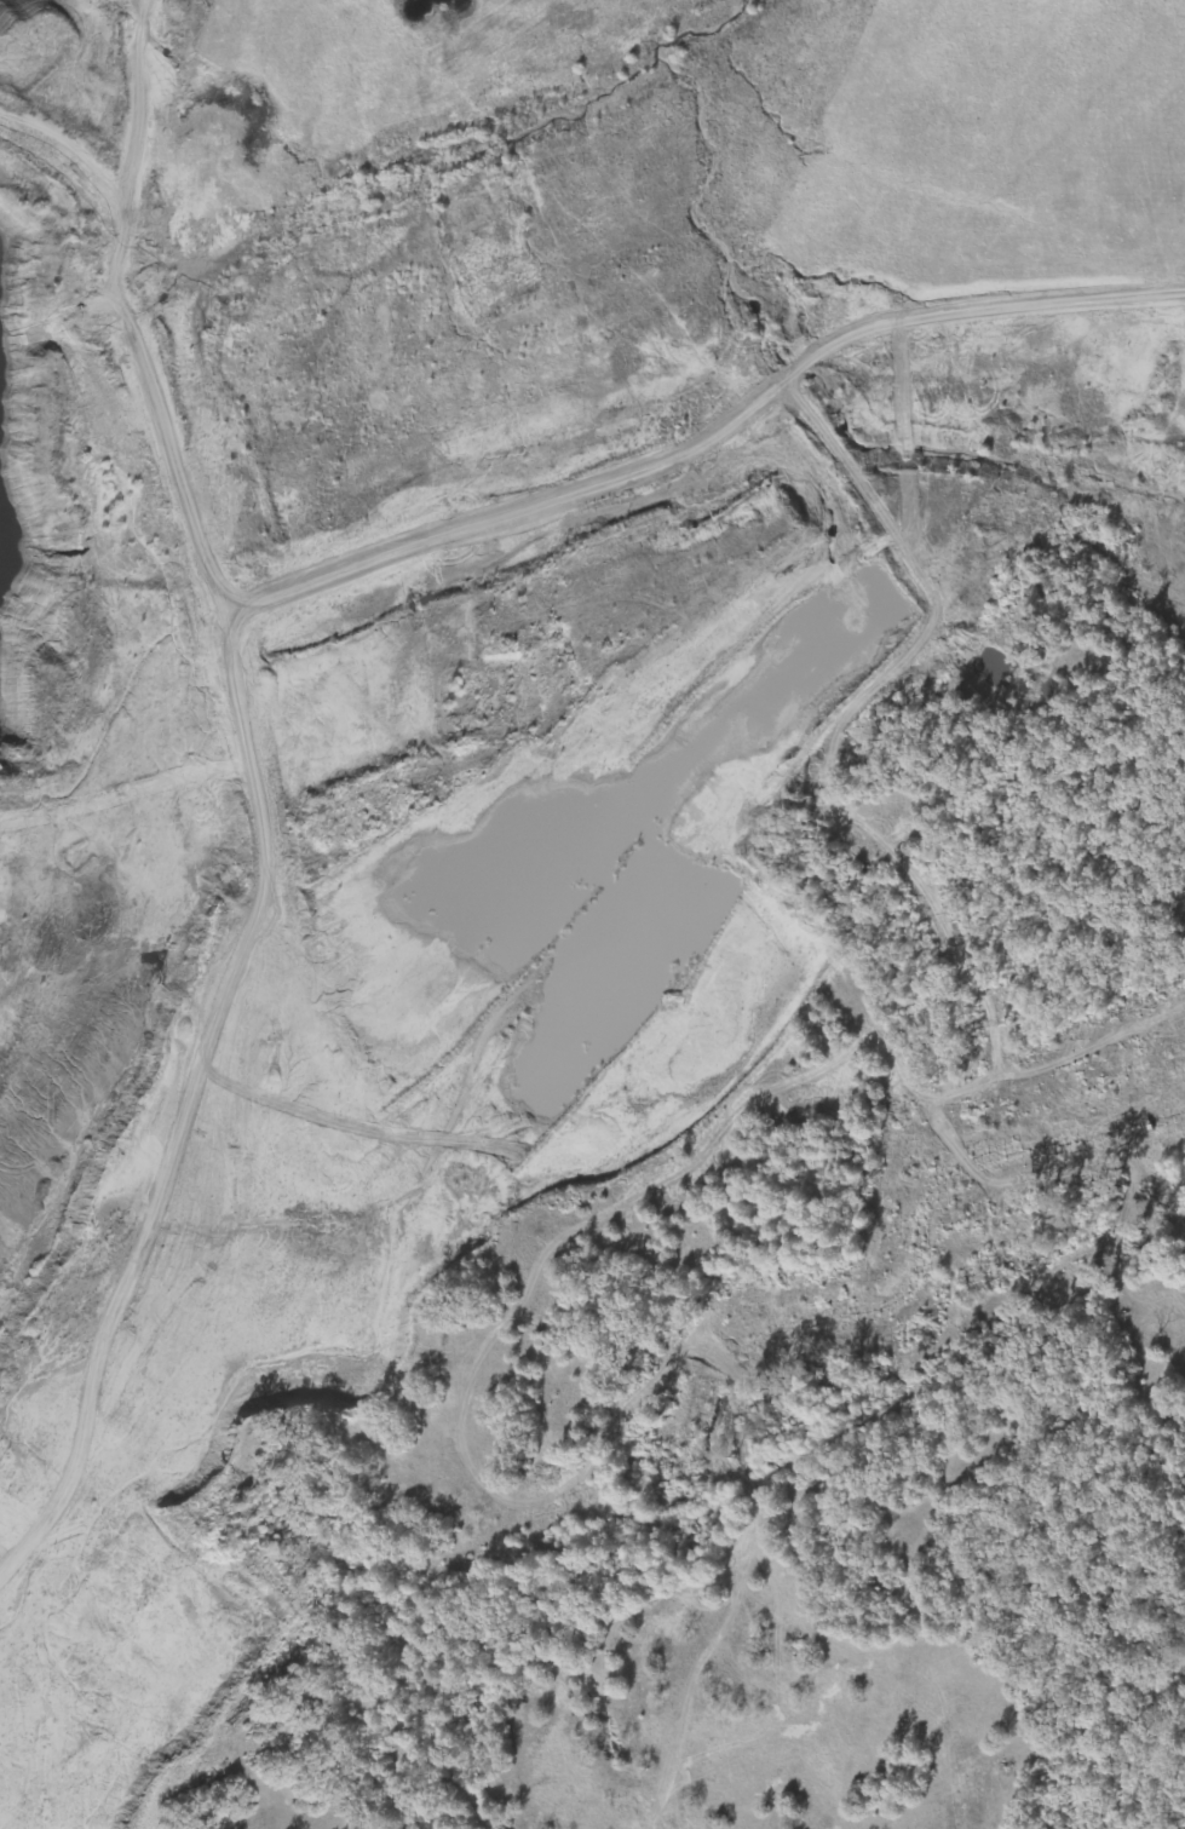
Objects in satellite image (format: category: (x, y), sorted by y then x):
quarry: (499, 361)

